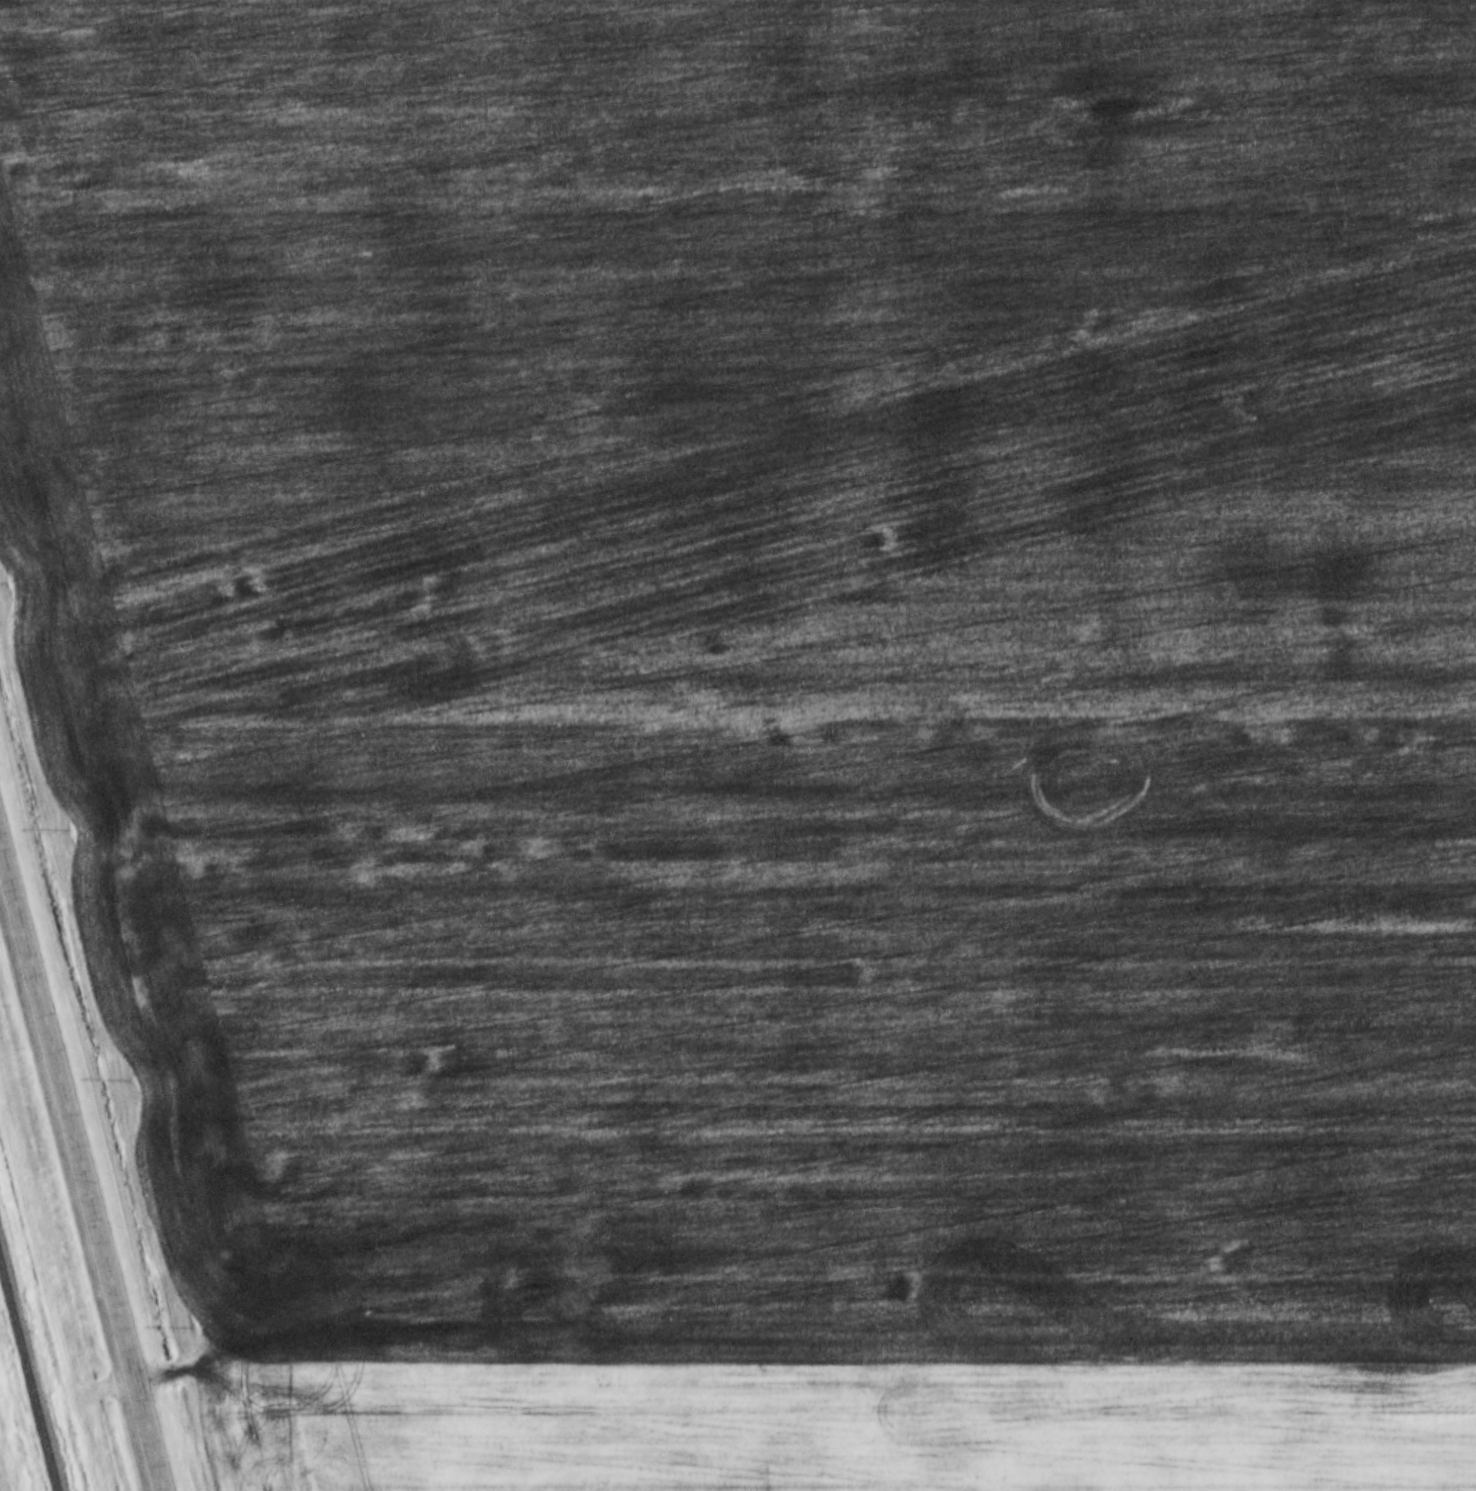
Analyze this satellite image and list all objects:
crop: (765, 668)
road: (85, 1166)
railway: (28, 1378)
crop: (842, 1431)

